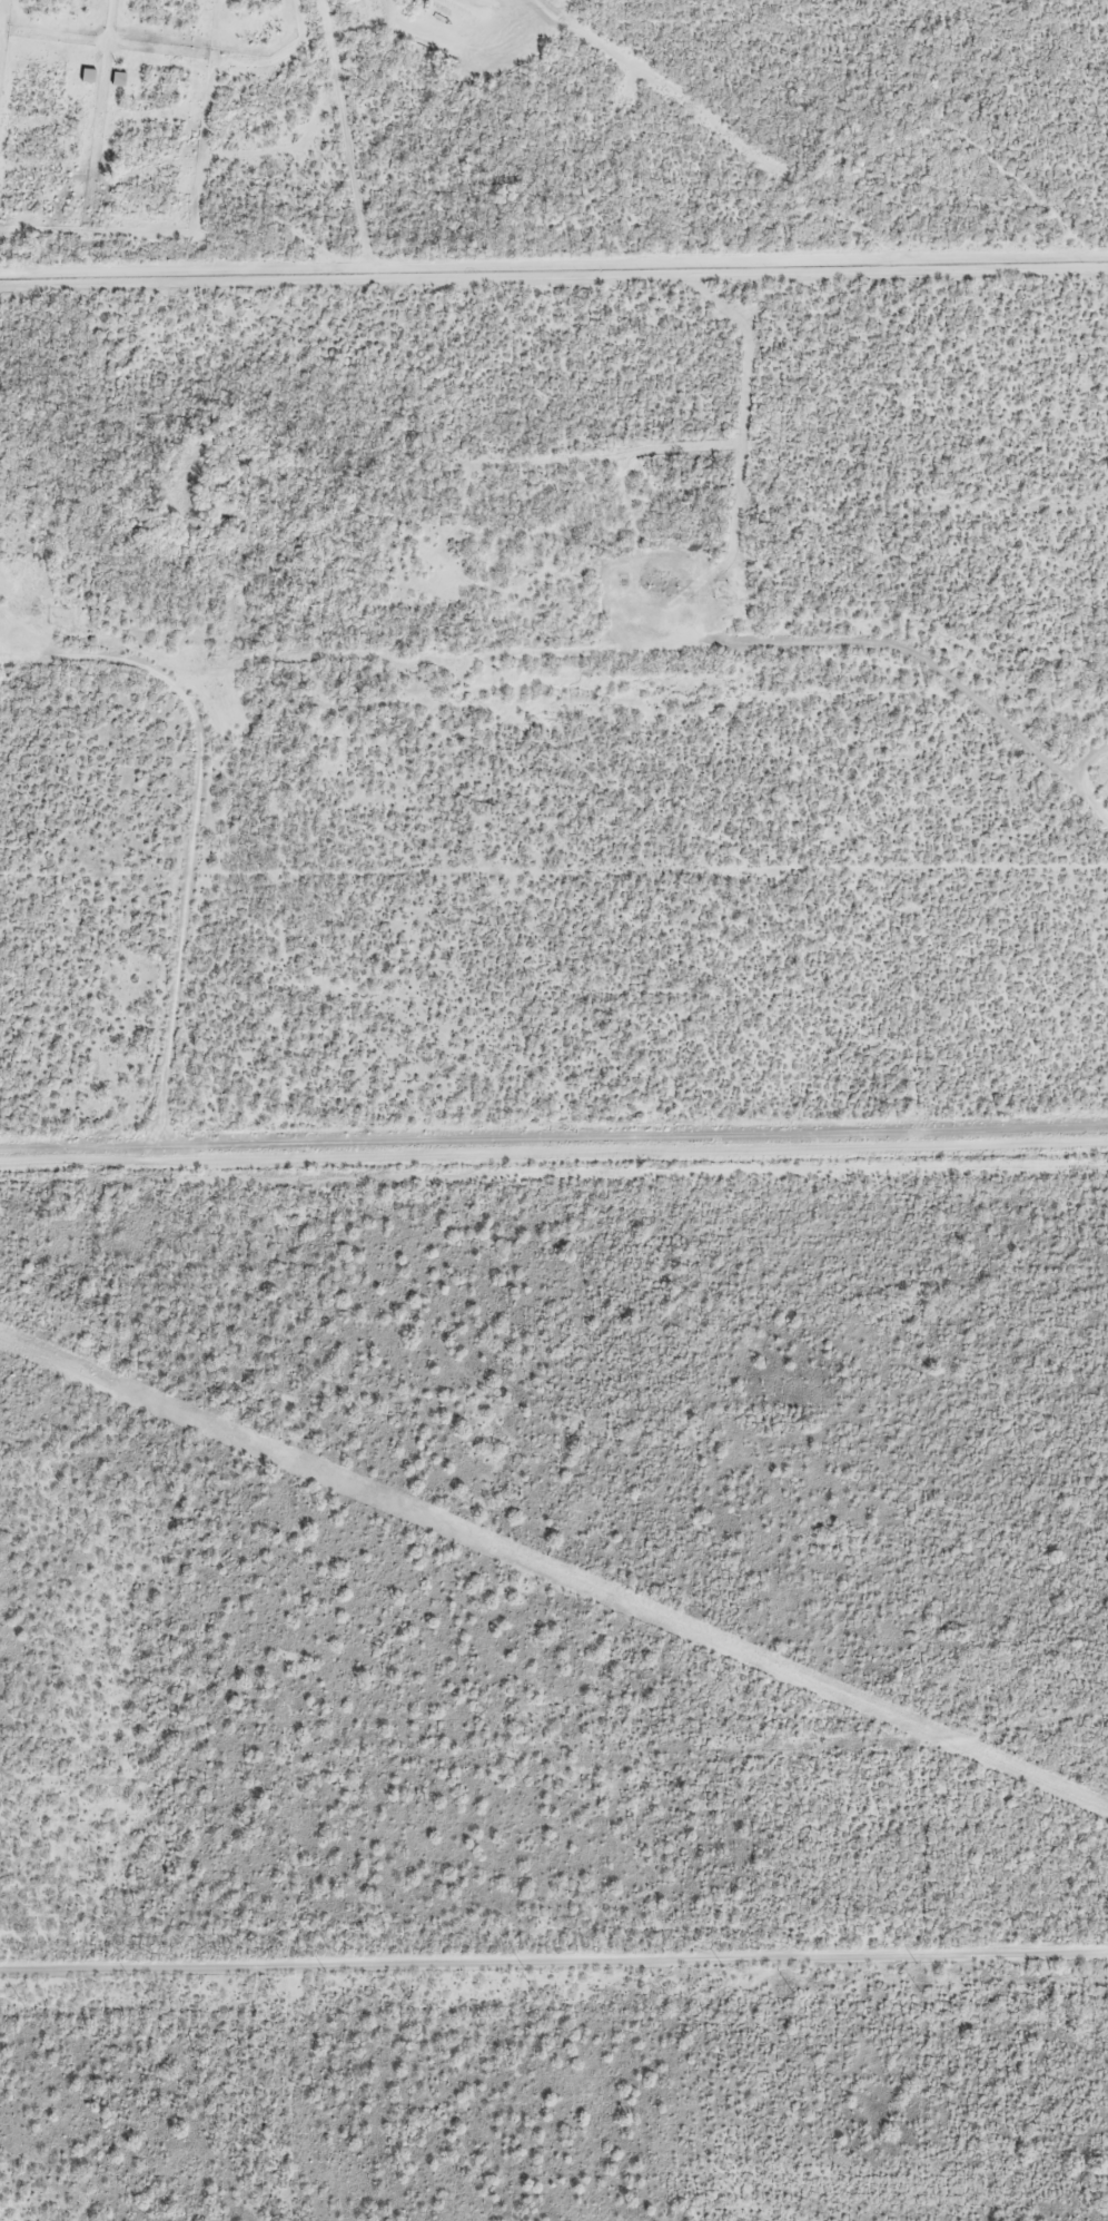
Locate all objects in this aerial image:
road: (554, 1152)
road: (554, 1964)

